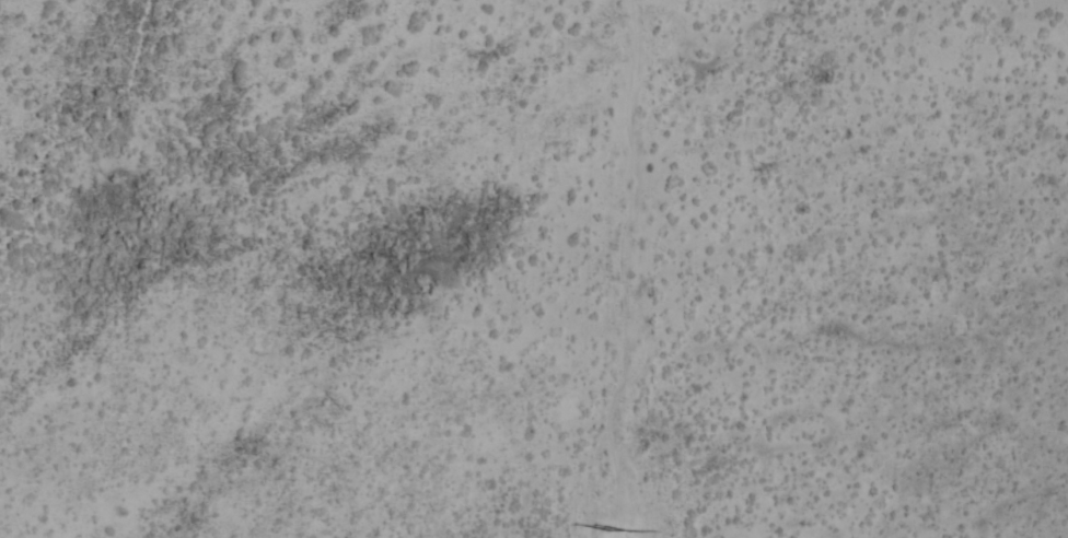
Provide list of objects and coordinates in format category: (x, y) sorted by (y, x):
power tower: (614, 530)

